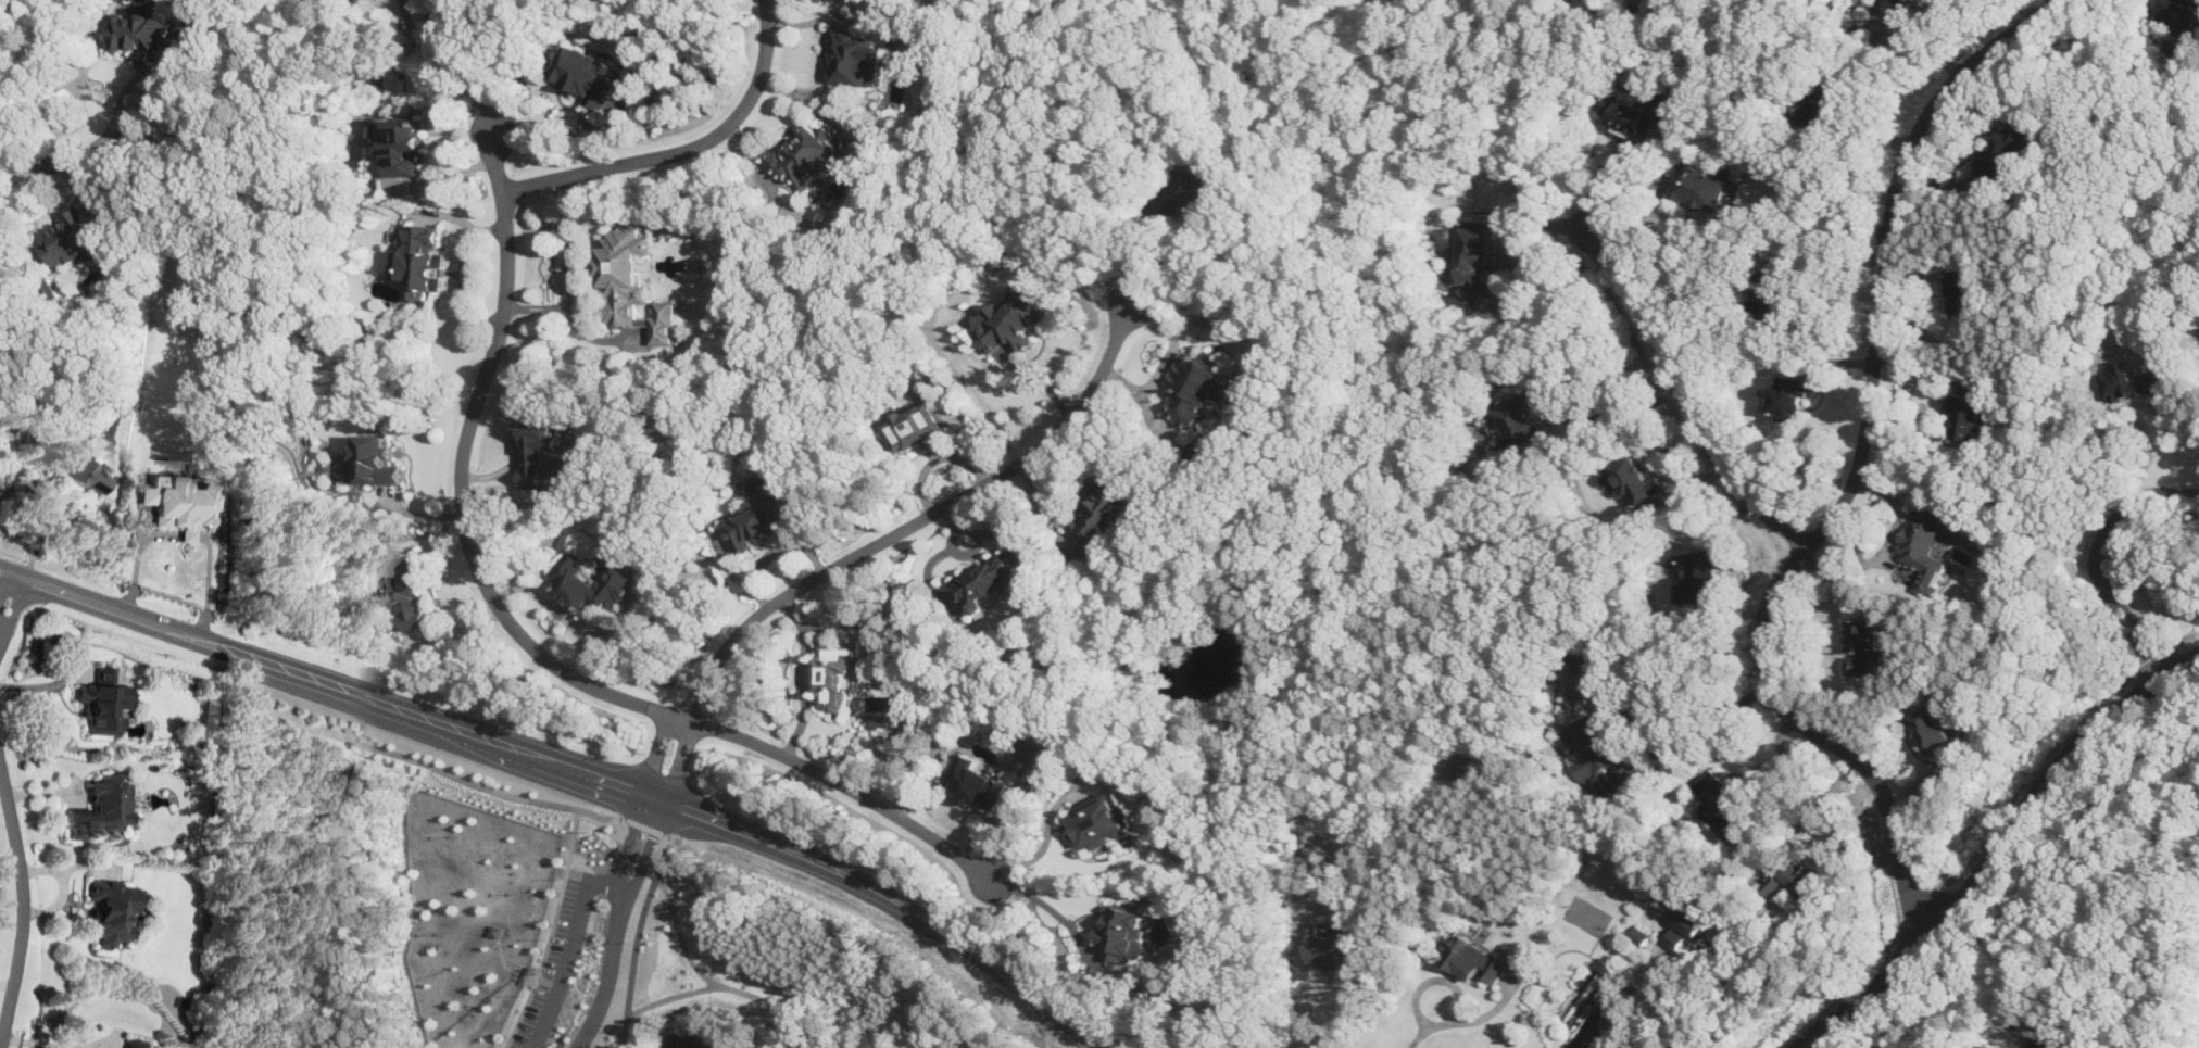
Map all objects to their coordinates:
building: (1888, 5)
building: (2181, 17)
building: (140, 30)
building: (856, 56)
road: (444, 62)
building: (583, 72)
building: (1823, 100)
road: (118, 105)
building: (1637, 112)
road: (1862, 134)
building: (402, 143)
road: (686, 148)
building: (2002, 148)
building: (805, 155)
road: (28, 167)
building: (1700, 187)
building: (1189, 192)
road: (1634, 199)
building: (72, 236)
road: (1139, 249)
road: (1513, 255)
building: (423, 261)
building: (1478, 261)
road: (569, 269)
building: (629, 283)
building: (1962, 288)
building: (1770, 295)
building: (1015, 318)
road: (1714, 330)
building: (2125, 381)
building: (1197, 387)
road: (2179, 388)
road: (1684, 392)
building: (1789, 395)
road: (1618, 409)
building: (1526, 413)
building: (1966, 416)
building: (919, 425)
road: (465, 450)
building: (1201, 451)
building: (548, 452)
building: (376, 460)
road: (1858, 474)
building: (87, 475)
building: (1637, 479)
road: (24, 481)
building: (175, 504)
road: (937, 509)
building: (1103, 515)
building: (763, 519)
road: (1884, 545)
building: (1927, 546)
road: (2094, 557)
building: (1701, 571)
building: (987, 580)
building: (593, 583)
building: (405, 592)
road: (9, 601)
road: (557, 610)
building: (1862, 646)
building: (835, 671)
road: (805, 675)
building: (1578, 685)
building: (102, 702)
road: (692, 702)
road: (1629, 710)
road: (686, 718)
road: (1699, 721)
building: (1931, 730)
road: (659, 750)
building: (1593, 754)
road: (680, 758)
road: (433, 765)
building: (1455, 765)
road: (574, 766)
building: (977, 780)
road: (868, 797)
building: (1720, 803)
building: (100, 807)
road: (1806, 813)
building: (1103, 819)
road: (646, 821)
road: (686, 836)
road: (628, 839)
road: (649, 846)
road: (1996, 847)
road: (571, 849)
building: (1729, 868)
building: (1796, 879)
road: (22, 906)
road: (1053, 907)
building: (112, 910)
park: (517, 916)
building: (1687, 926)
building: (1121, 932)
building: (1638, 935)
road: (636, 937)
building: (1334, 945)
road: (570, 949)
building: (1474, 957)
road: (608, 970)
road: (1307, 975)
road: (711, 978)
road: (5, 984)
road: (673, 994)
road: (1674, 1010)
road: (1460, 1020)
road: (1050, 1027)
road: (0, 1043)
road: (29, 1044)
road: (96, 1044)
building: (136, 1044)
building: (1988, 1046)

